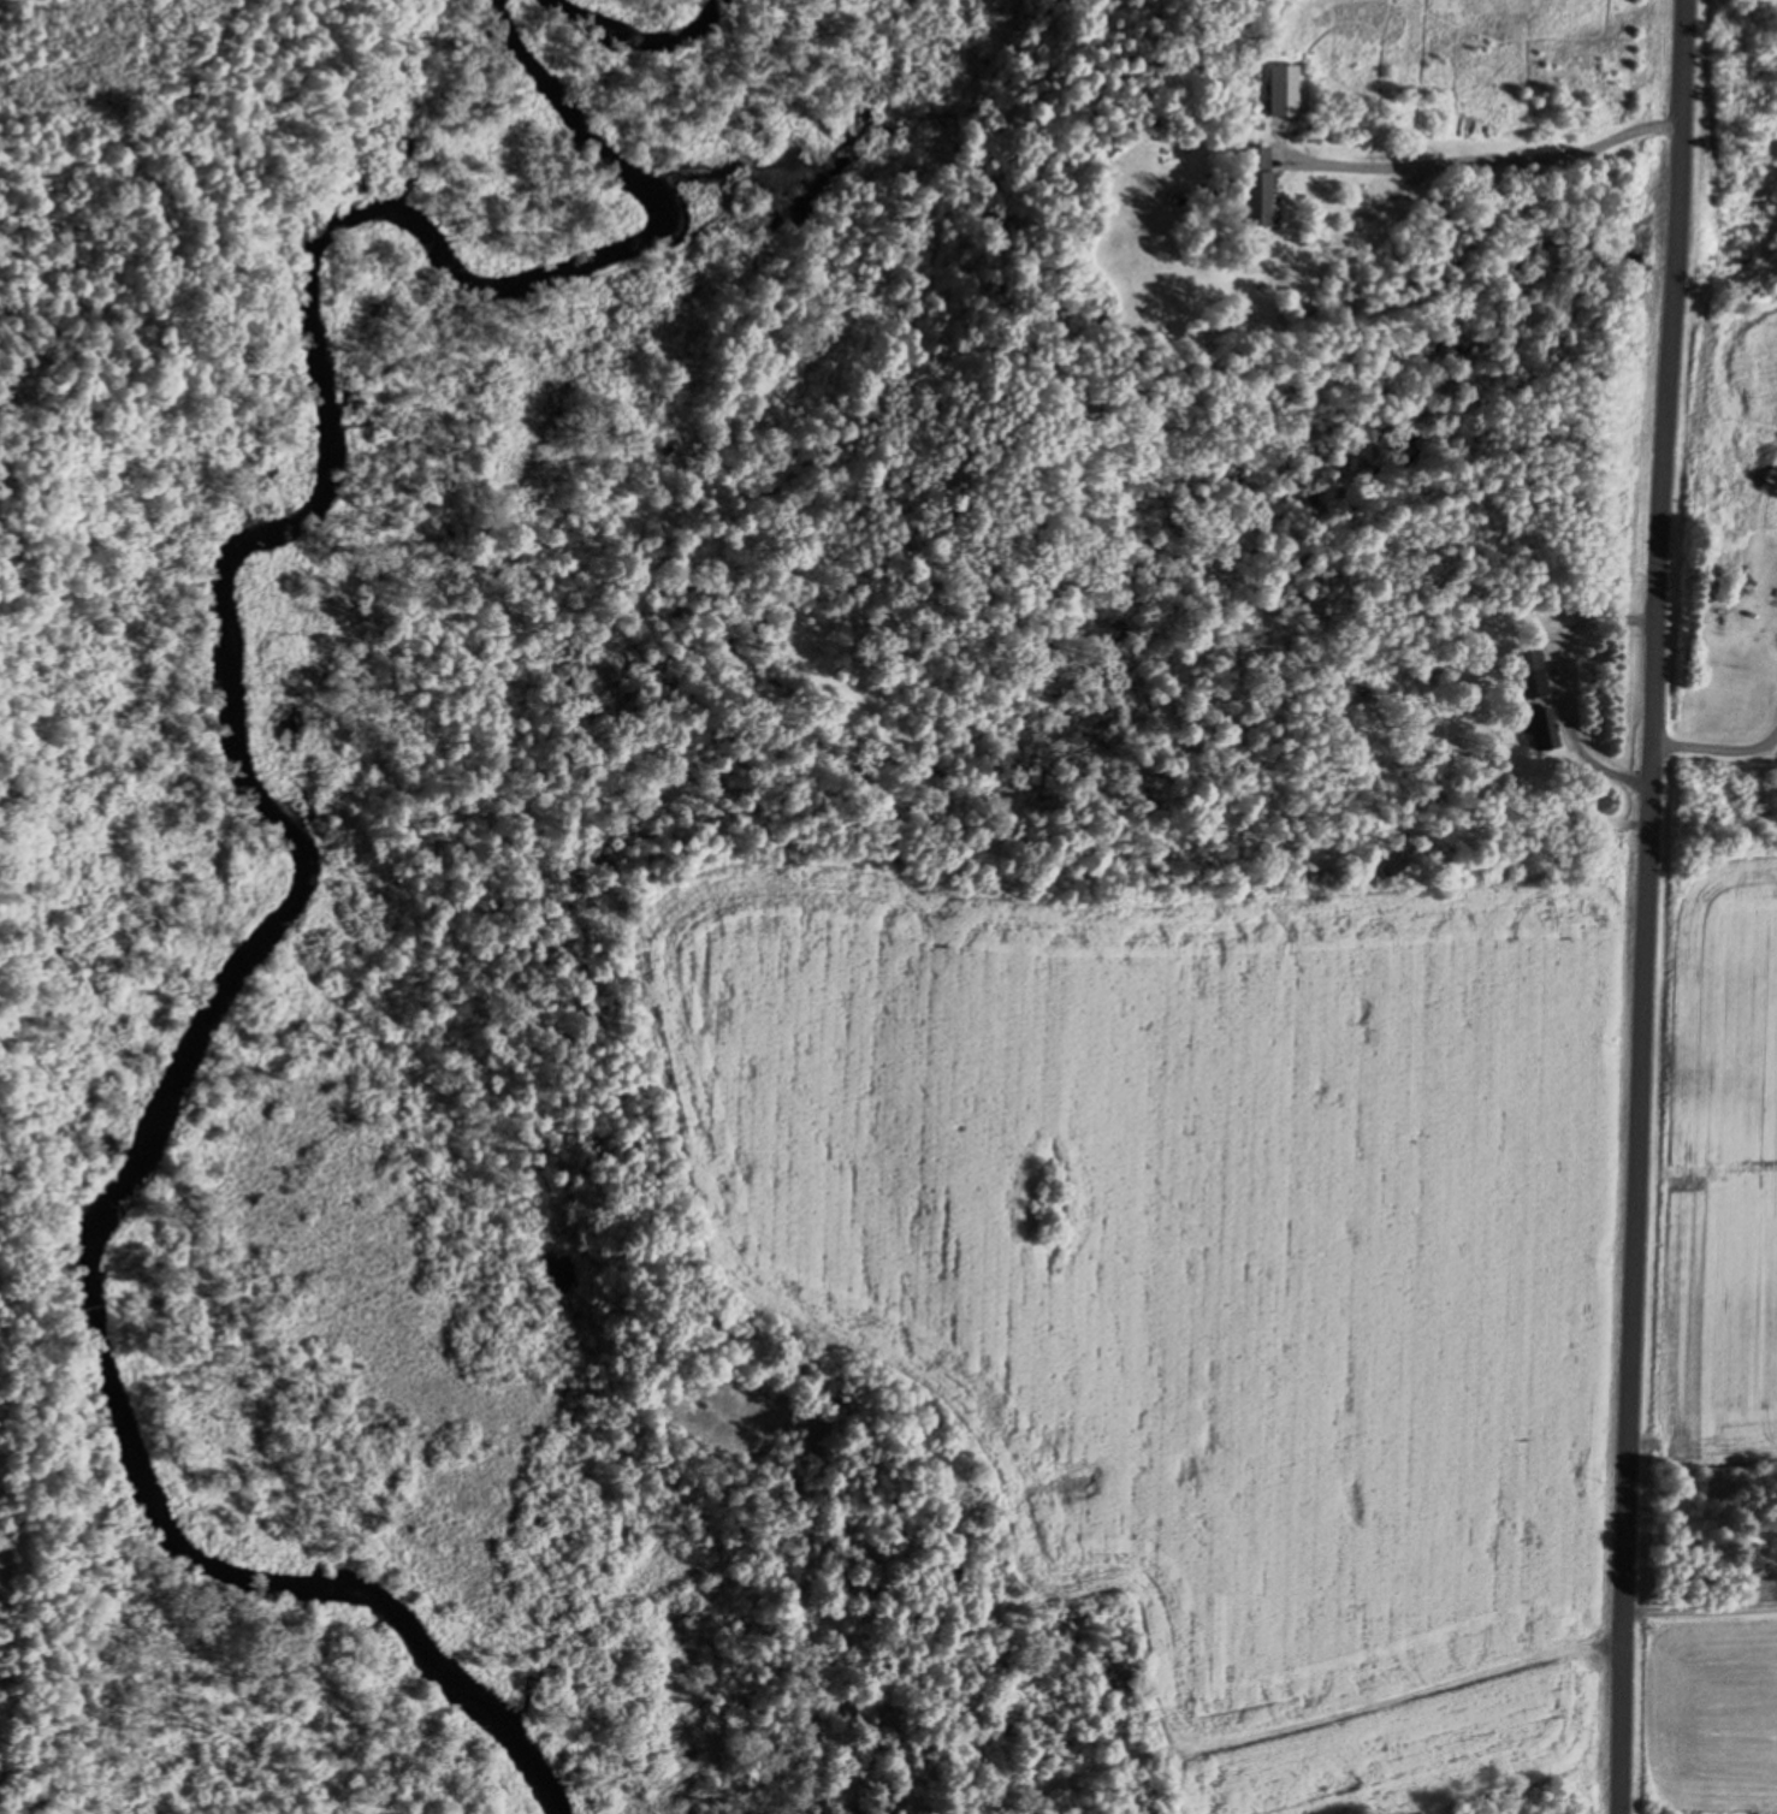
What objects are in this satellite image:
road: (1495, 160)
building: (1256, 185)
building: (1530, 675)
building: (1542, 730)
road: (1664, 907)

